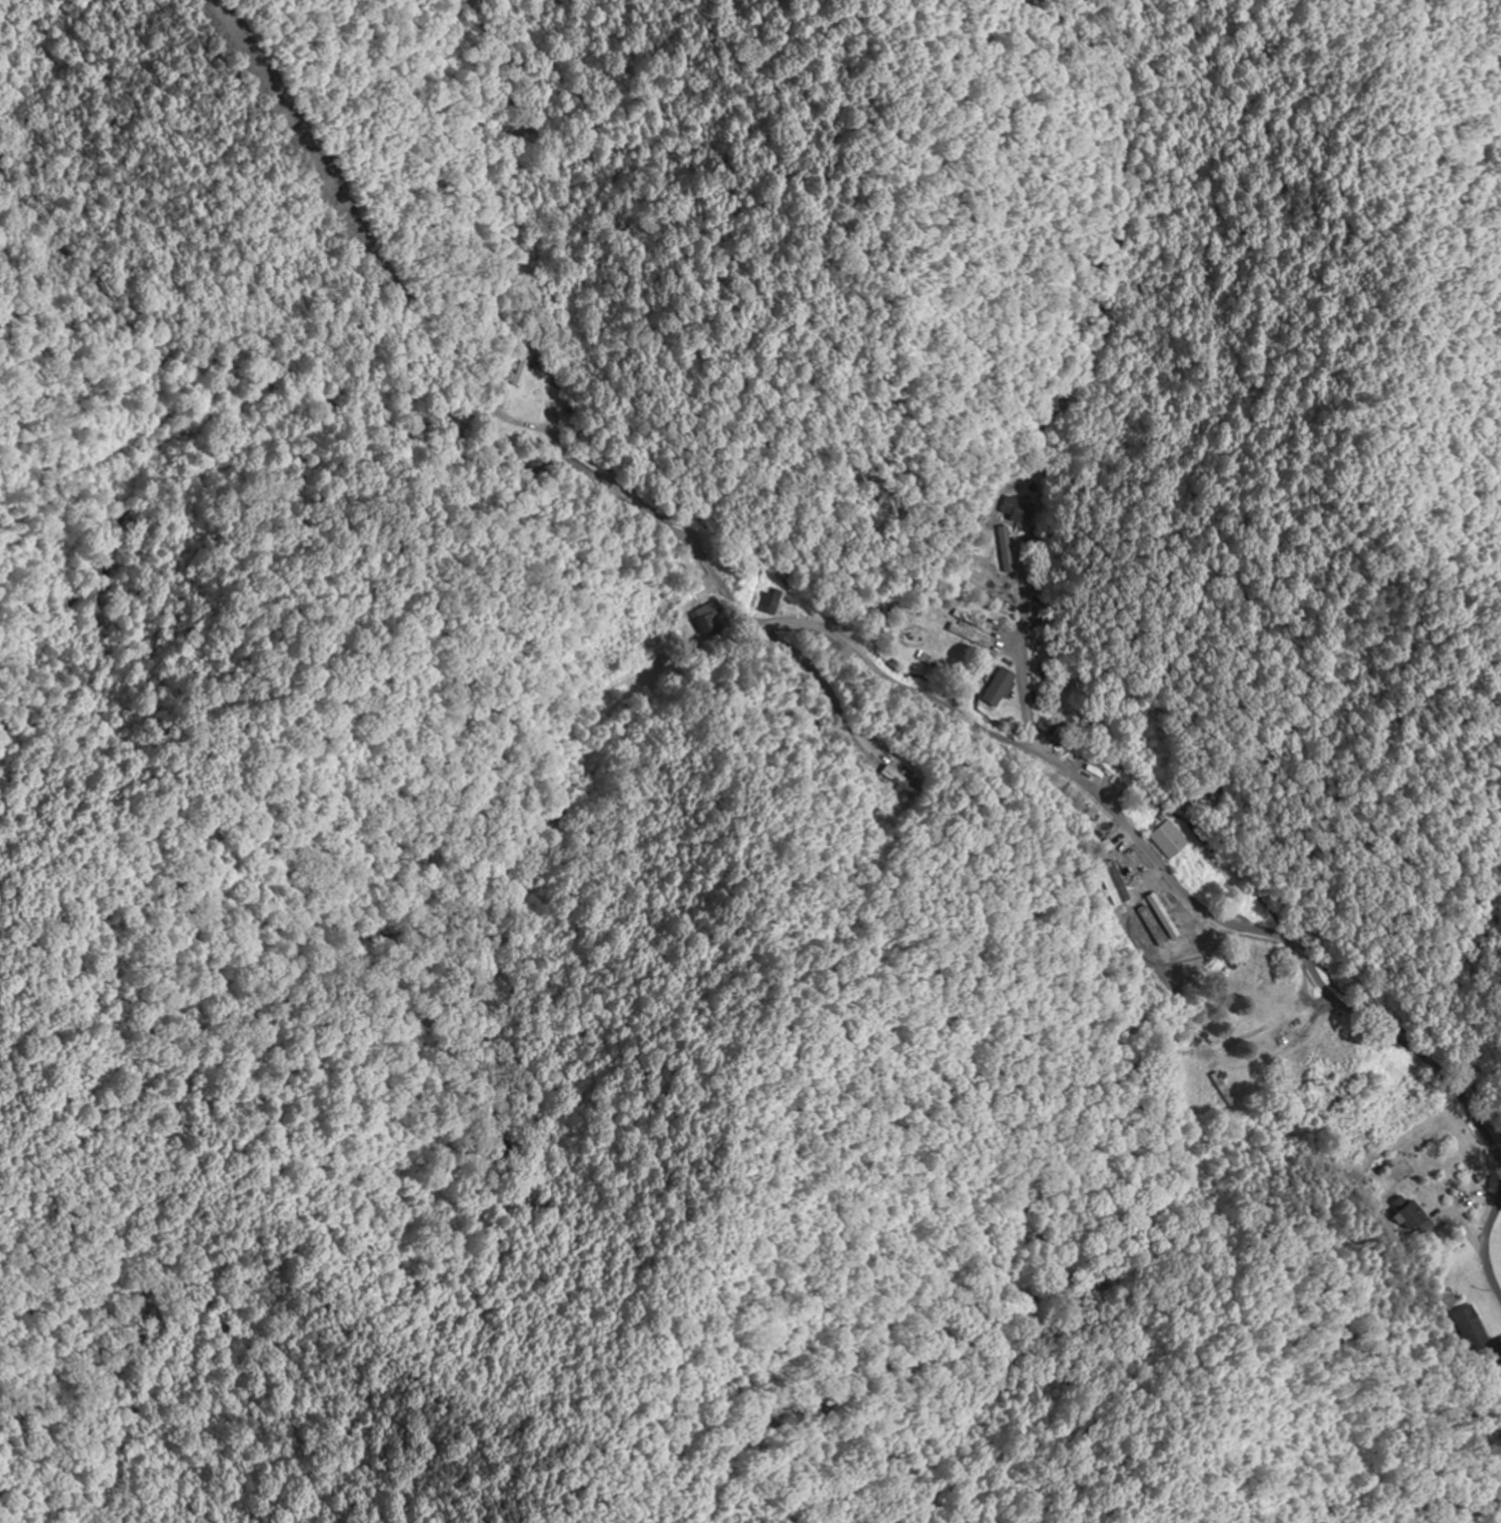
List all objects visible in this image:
building: (523, 369)
building: (1022, 508)
building: (985, 588)
building: (781, 602)
building: (708, 617)
building: (1001, 686)
building: (899, 779)
road: (1106, 795)
building: (1171, 839)
building: (1162, 920)
building: (1224, 1088)
building: (1415, 1215)
building: (1478, 1335)
building: (1500, 1398)

